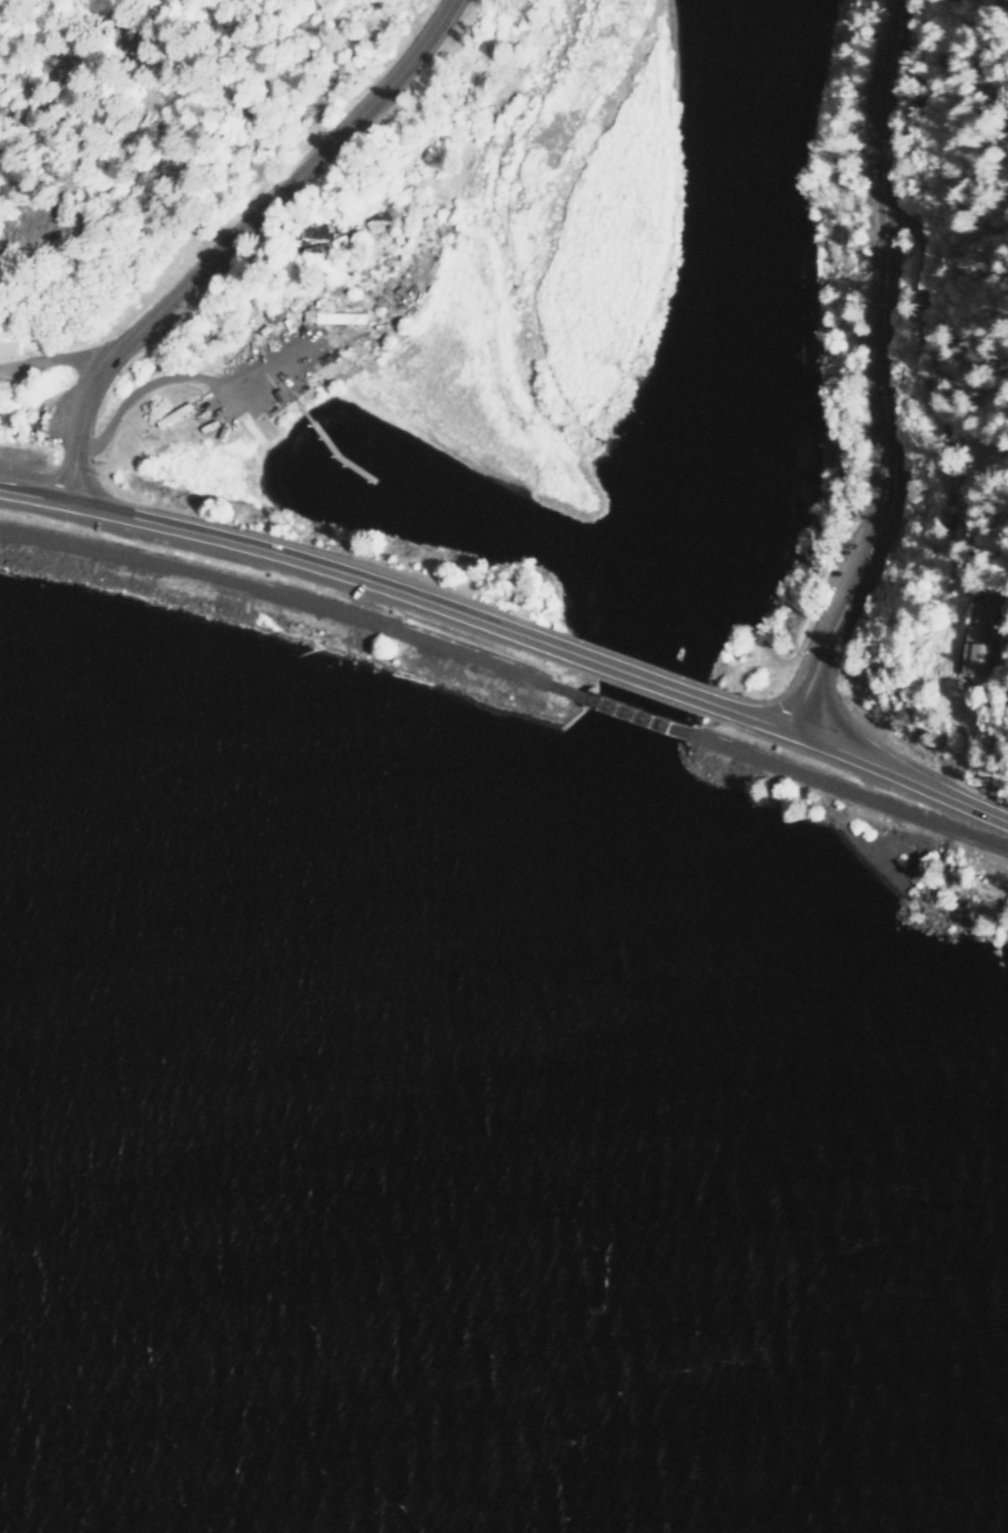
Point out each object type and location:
road: (232, 234)
building: (8, 345)
road: (55, 359)
road: (883, 373)
road: (195, 375)
road: (286, 381)
road: (948, 420)
pier: (331, 447)
road: (264, 548)
parking lot: (234, 558)
railway: (274, 598)
road: (482, 642)
road: (620, 671)
road: (590, 697)
railway: (619, 710)
road: (571, 720)
river: (606, 755)
road: (866, 761)
railway: (852, 788)

